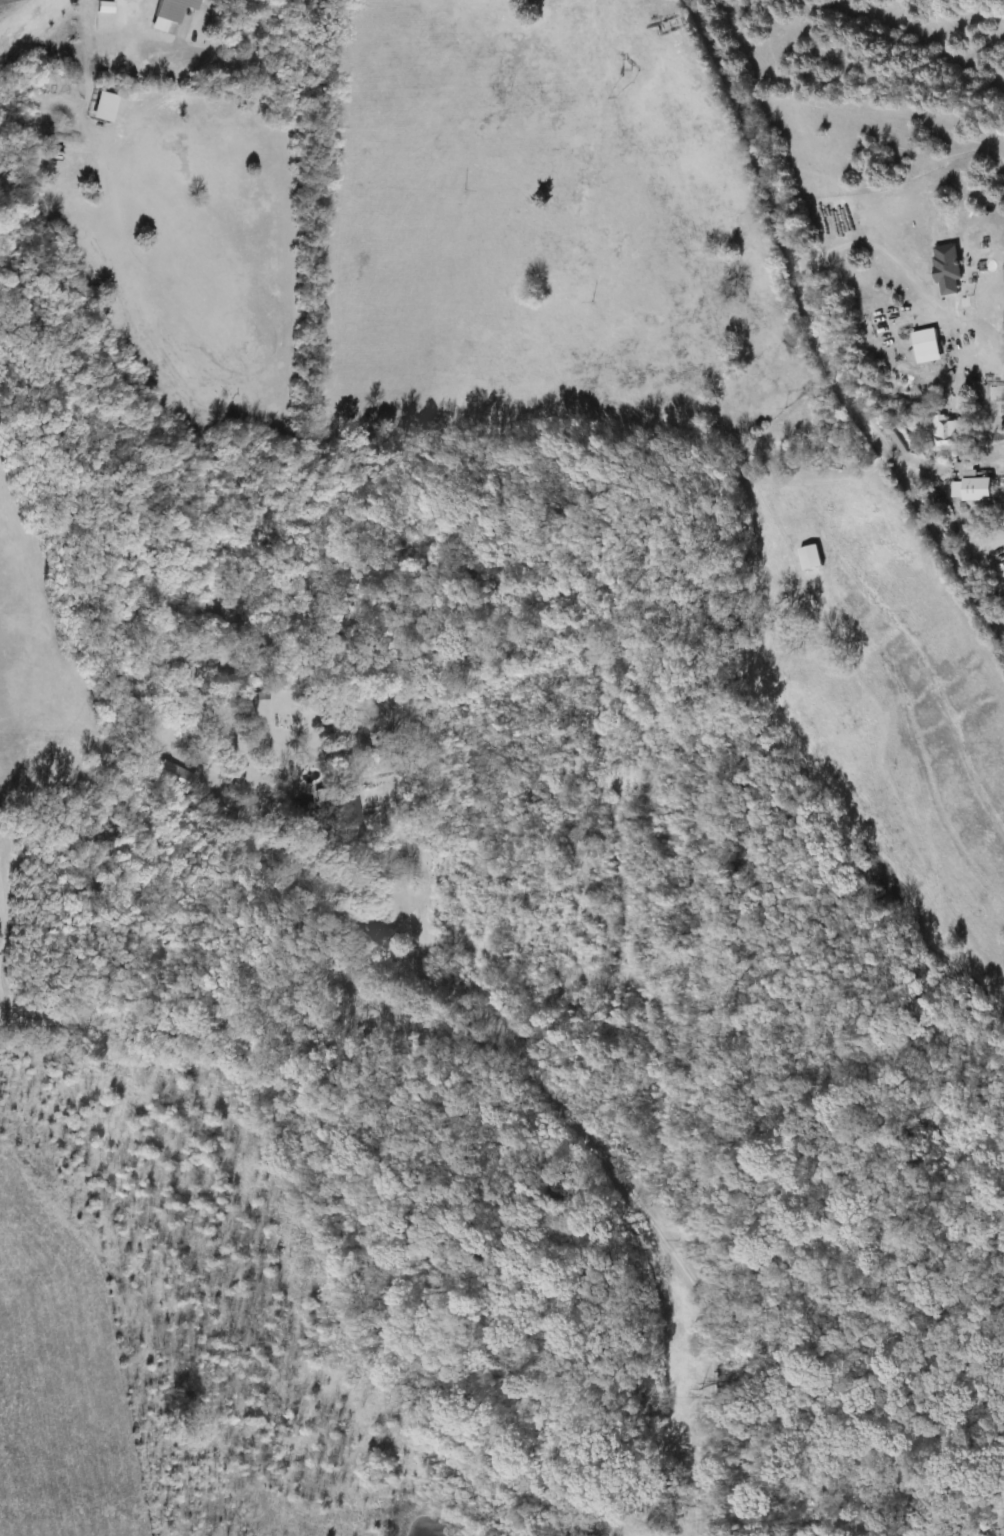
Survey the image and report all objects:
road: (266, 10)
building: (169, 13)
road: (213, 50)
road: (880, 249)
road: (817, 333)
building: (942, 433)
building: (971, 485)
building: (806, 557)
building: (347, 804)
road: (335, 956)
road: (0, 1022)
road: (522, 1062)

